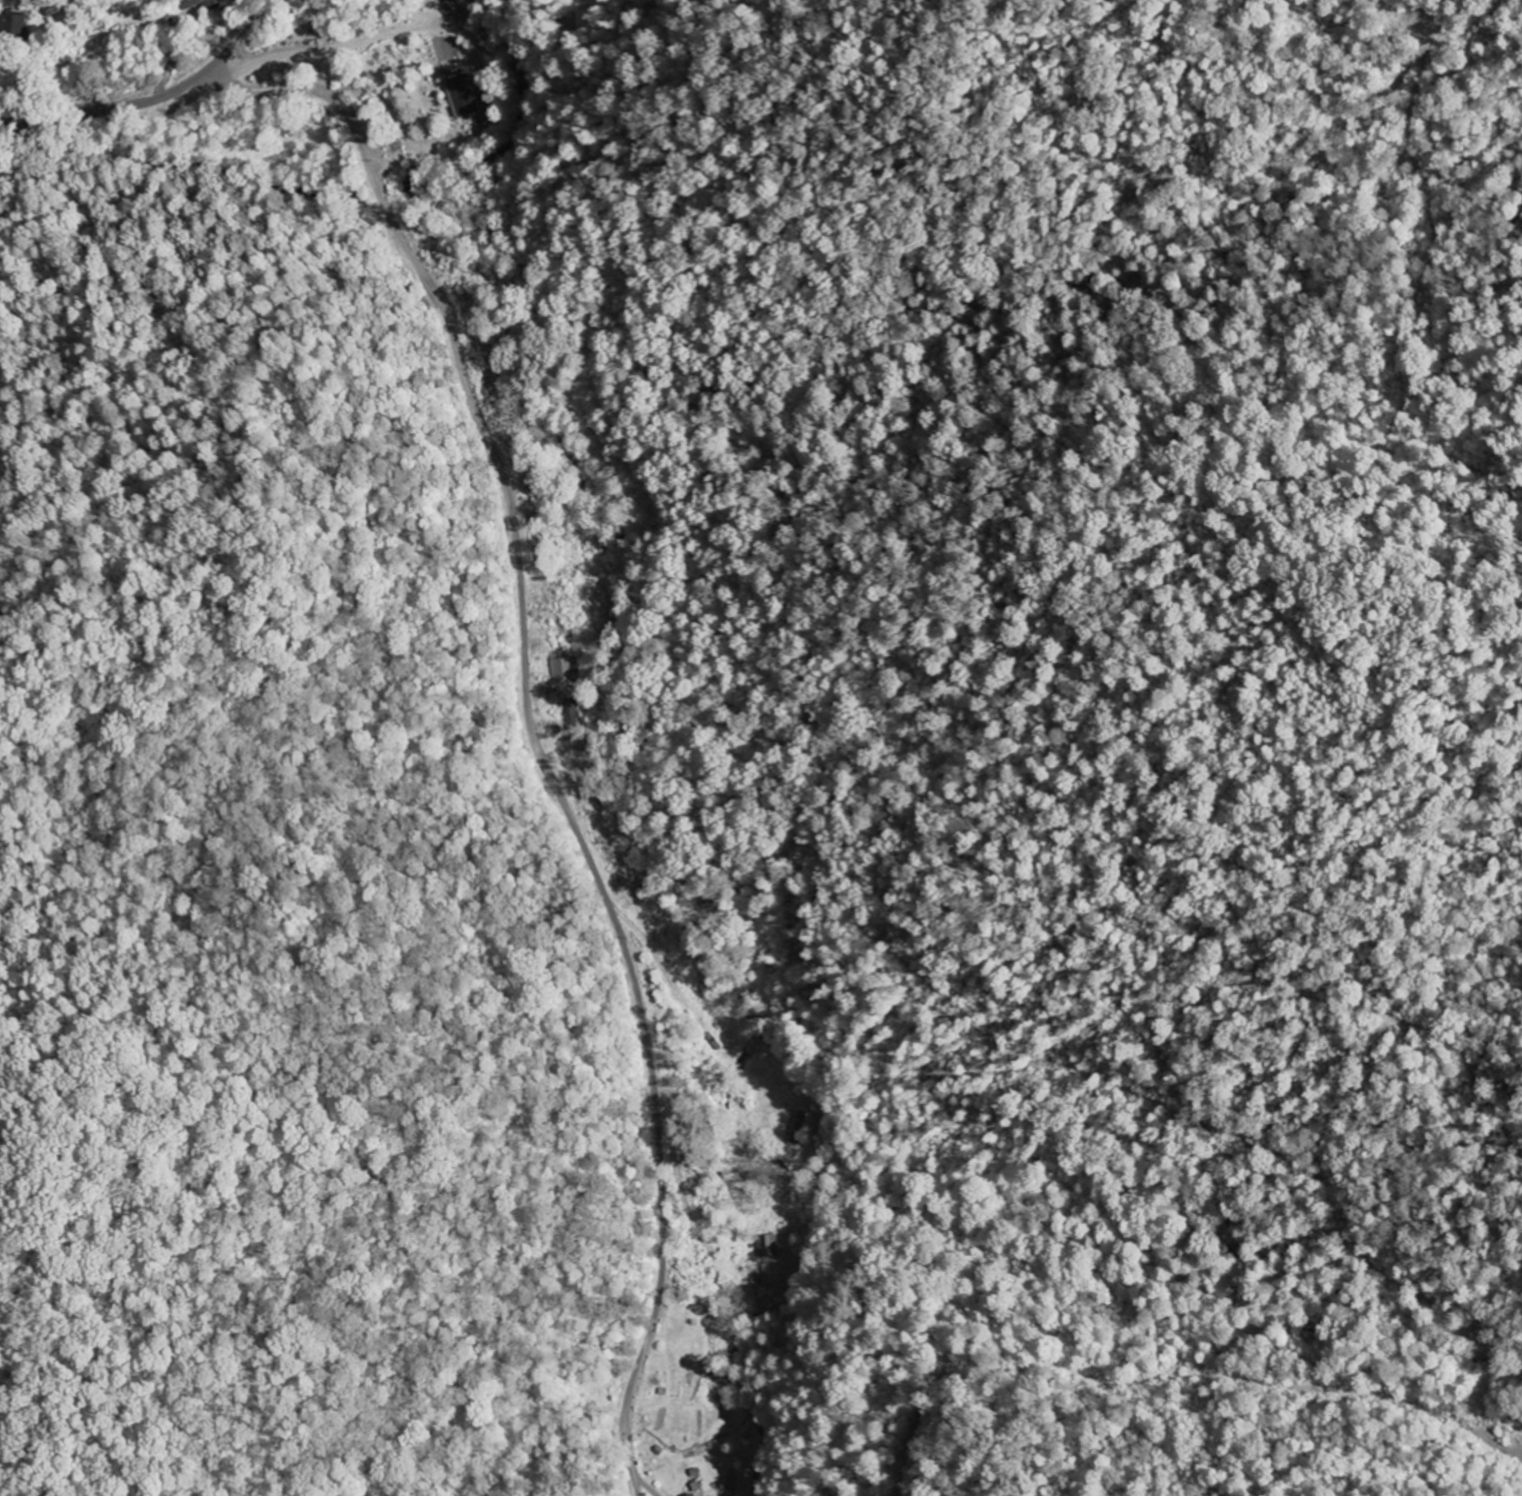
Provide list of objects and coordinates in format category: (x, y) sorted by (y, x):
road: (246, 35)
building: (465, 97)
road: (108, 109)
road: (527, 724)
building: (695, 1495)

